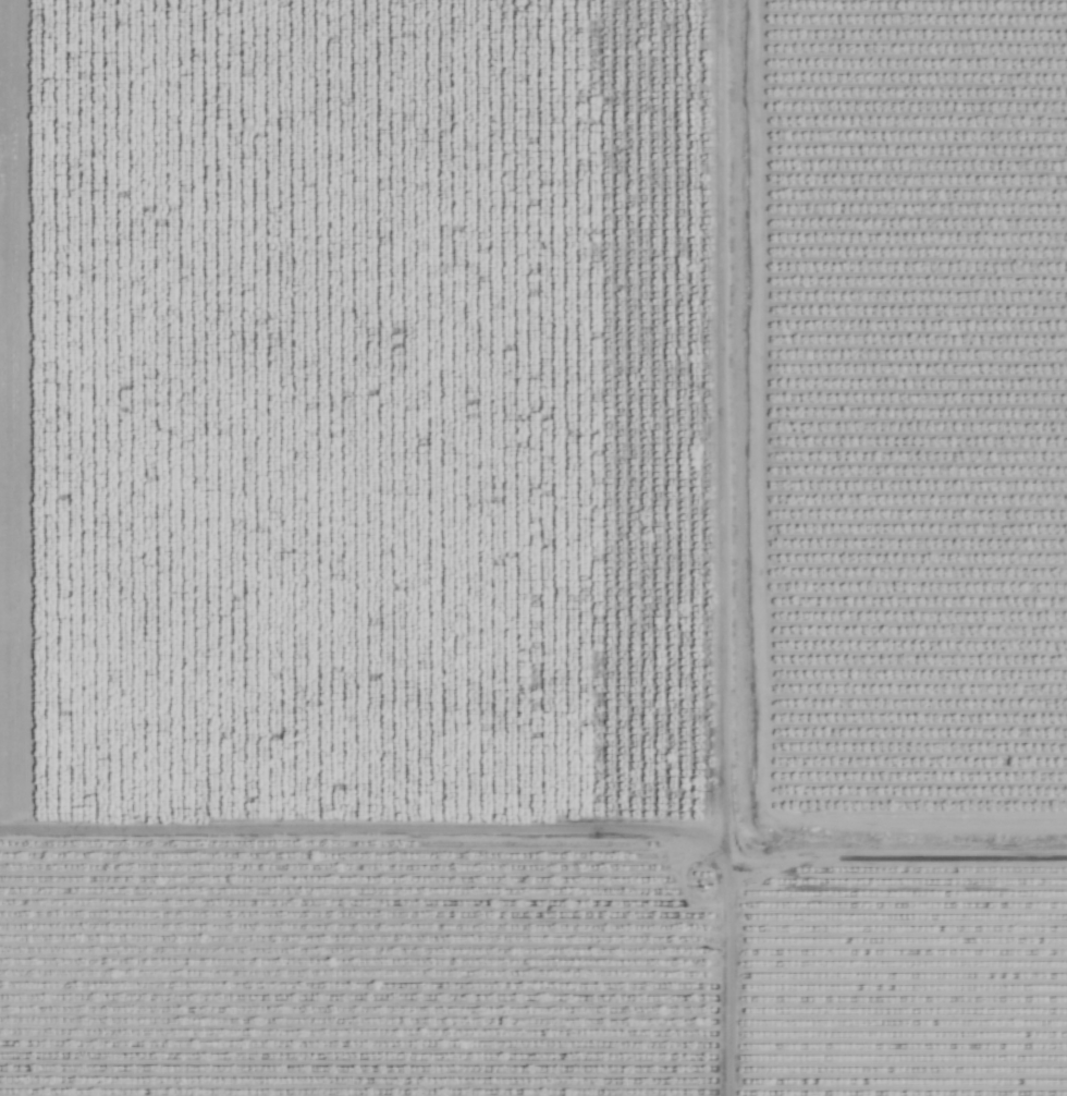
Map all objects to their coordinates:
crop: (912, 546)
road: (719, 547)

